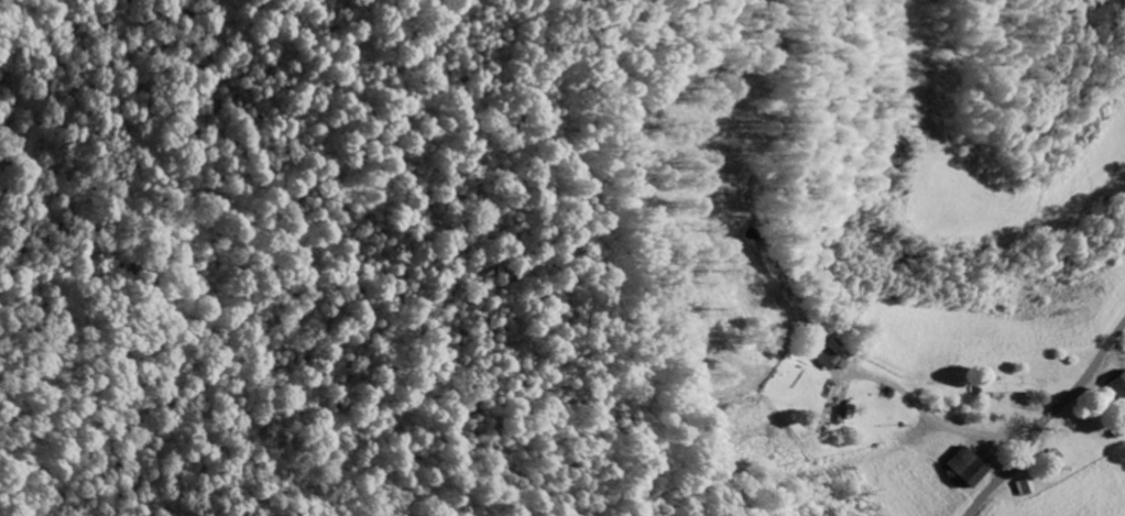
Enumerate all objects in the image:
building: (824, 361)
building: (1118, 387)
building: (1002, 389)
road: (922, 409)
road: (1050, 422)
road: (1000, 439)
building: (964, 469)
building: (1026, 488)

